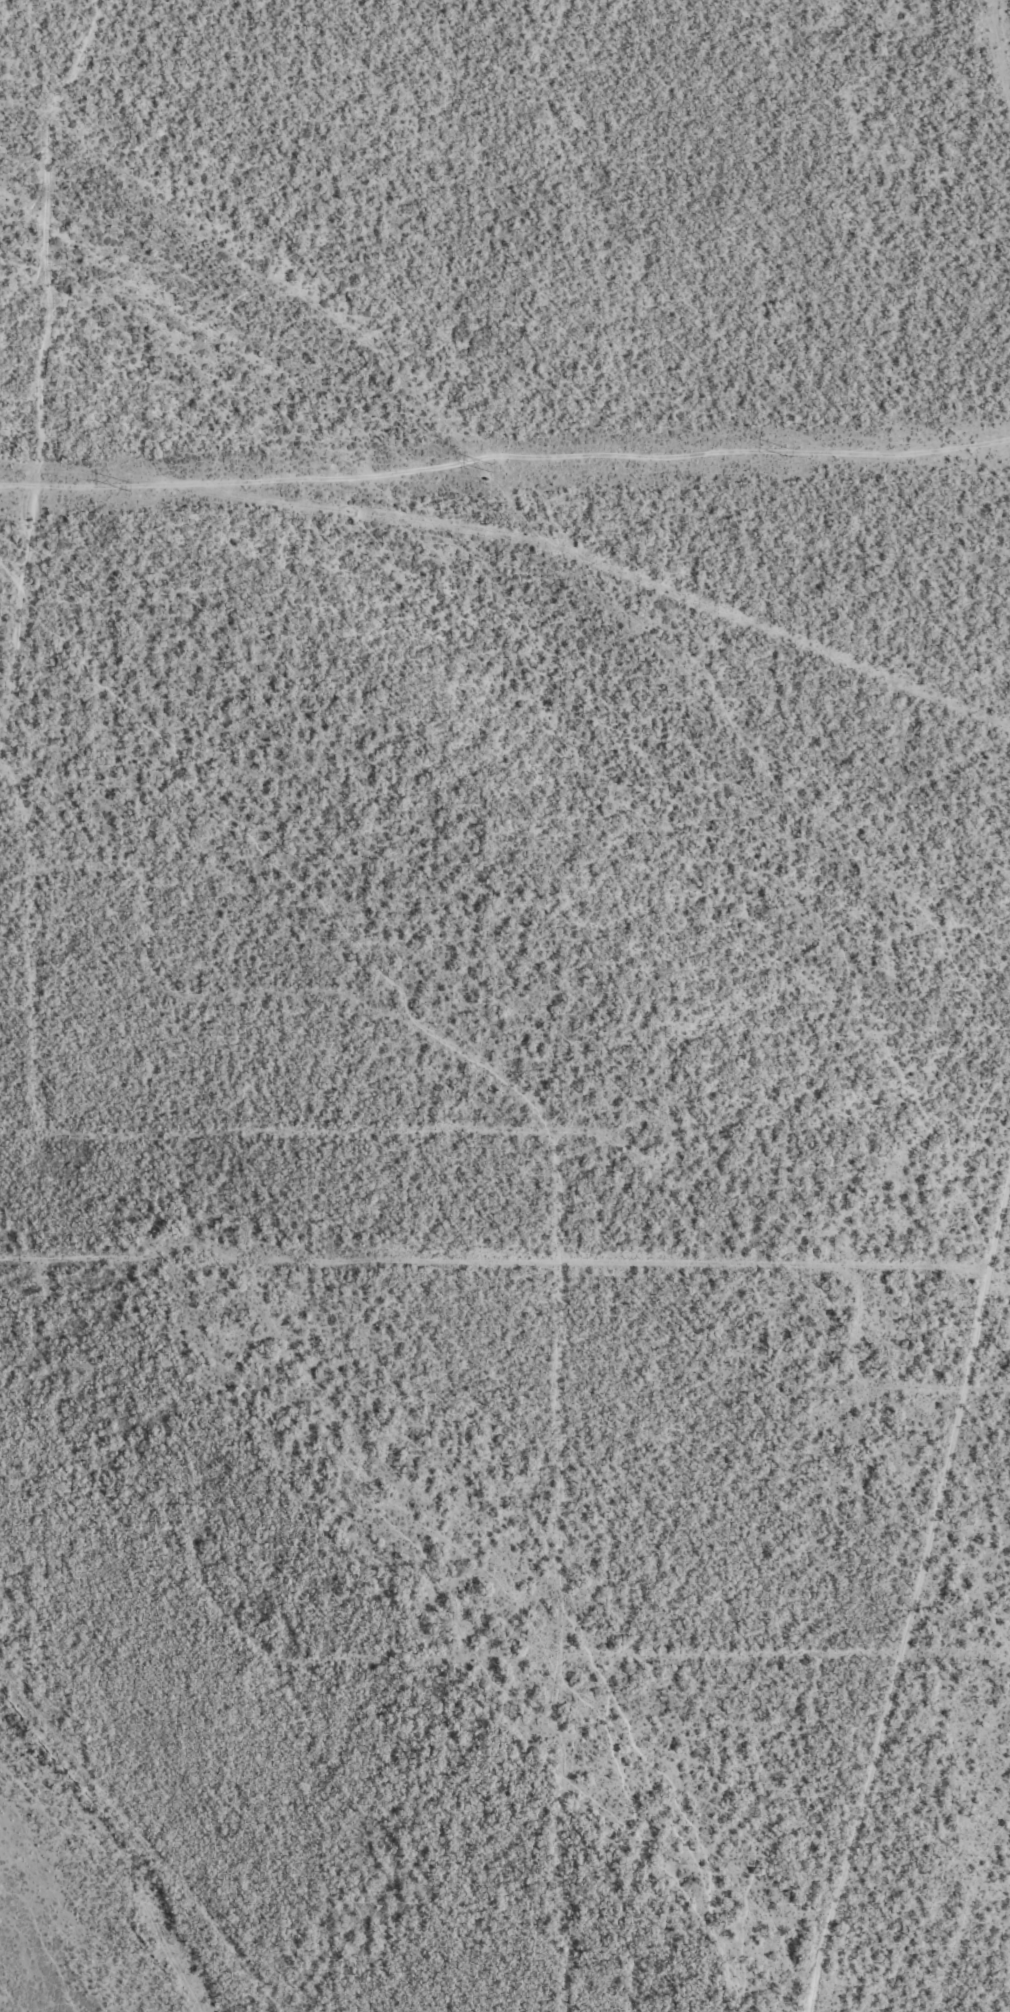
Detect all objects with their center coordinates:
road: (1007, 12)
power tower: (788, 452)
power tower: (491, 467)
power tower: (127, 485)
road: (505, 1229)
road: (967, 1869)

